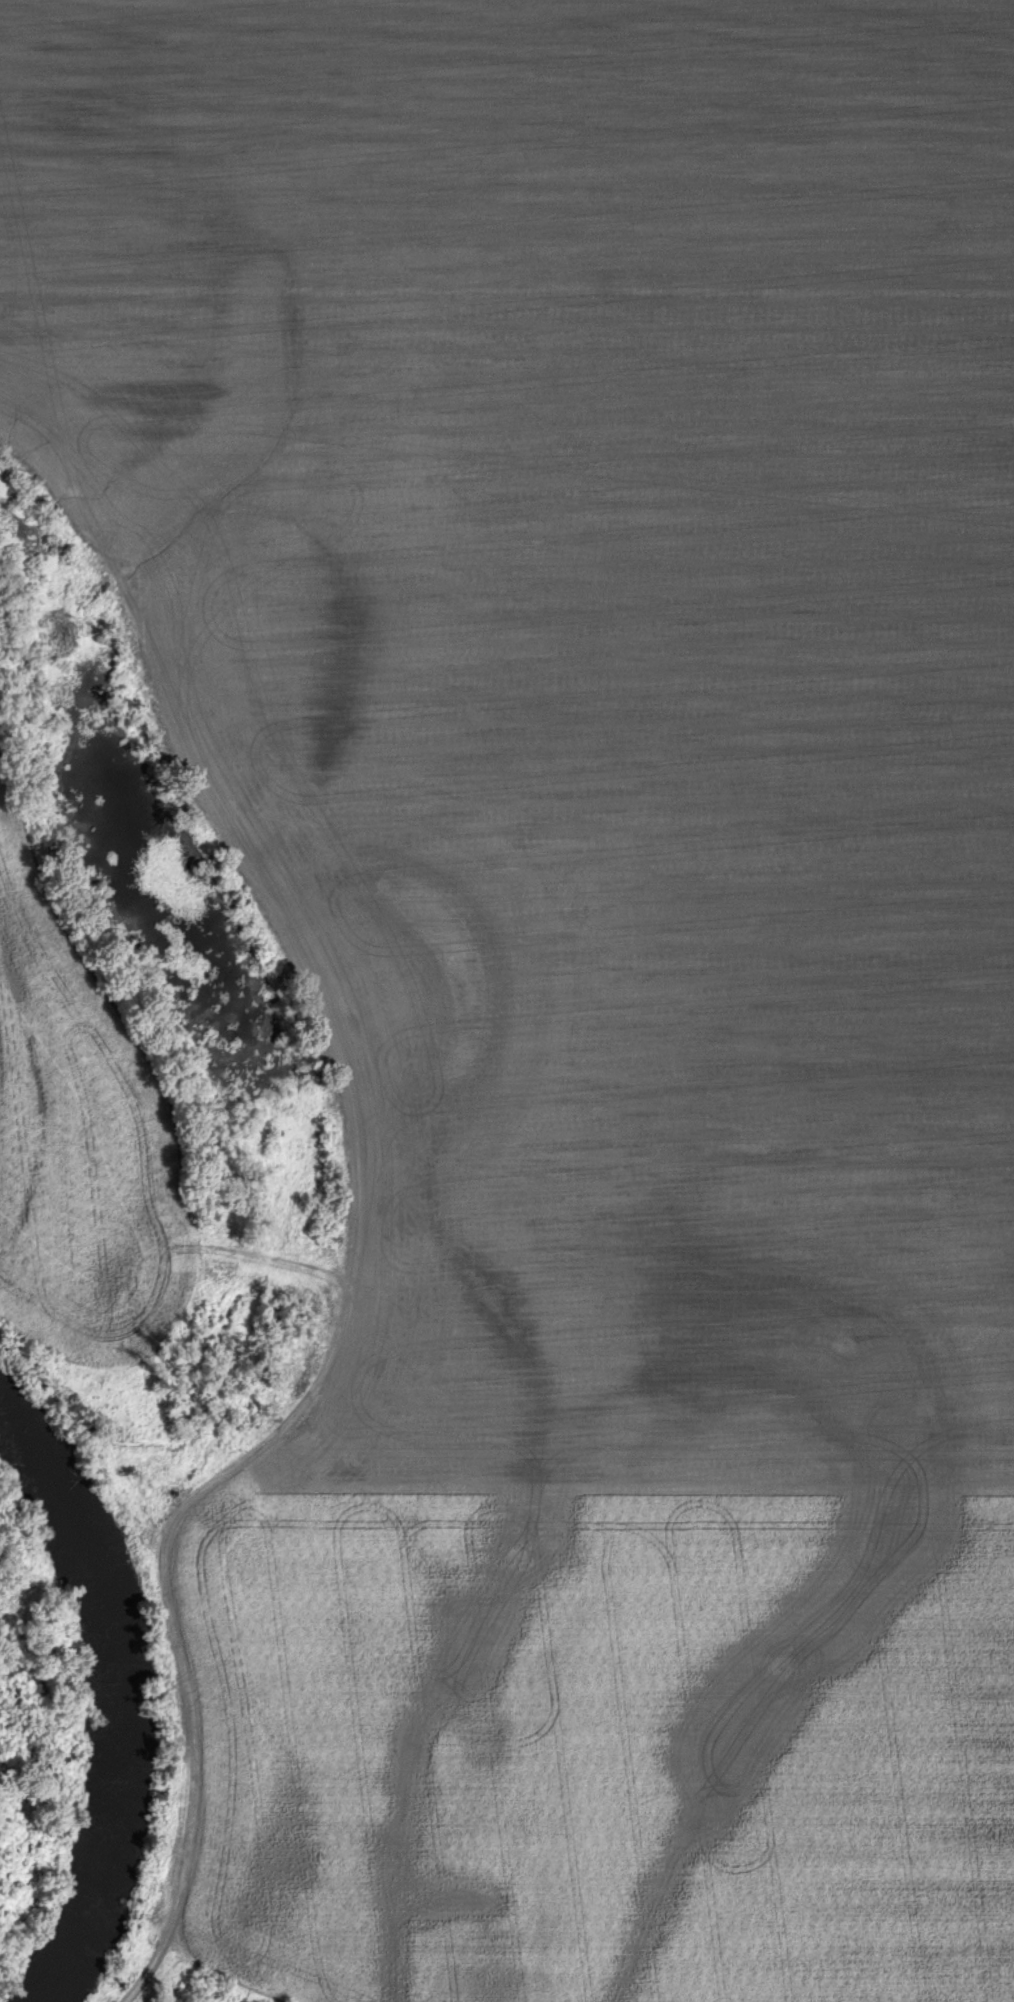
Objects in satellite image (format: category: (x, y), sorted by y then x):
crop: (587, 943)

